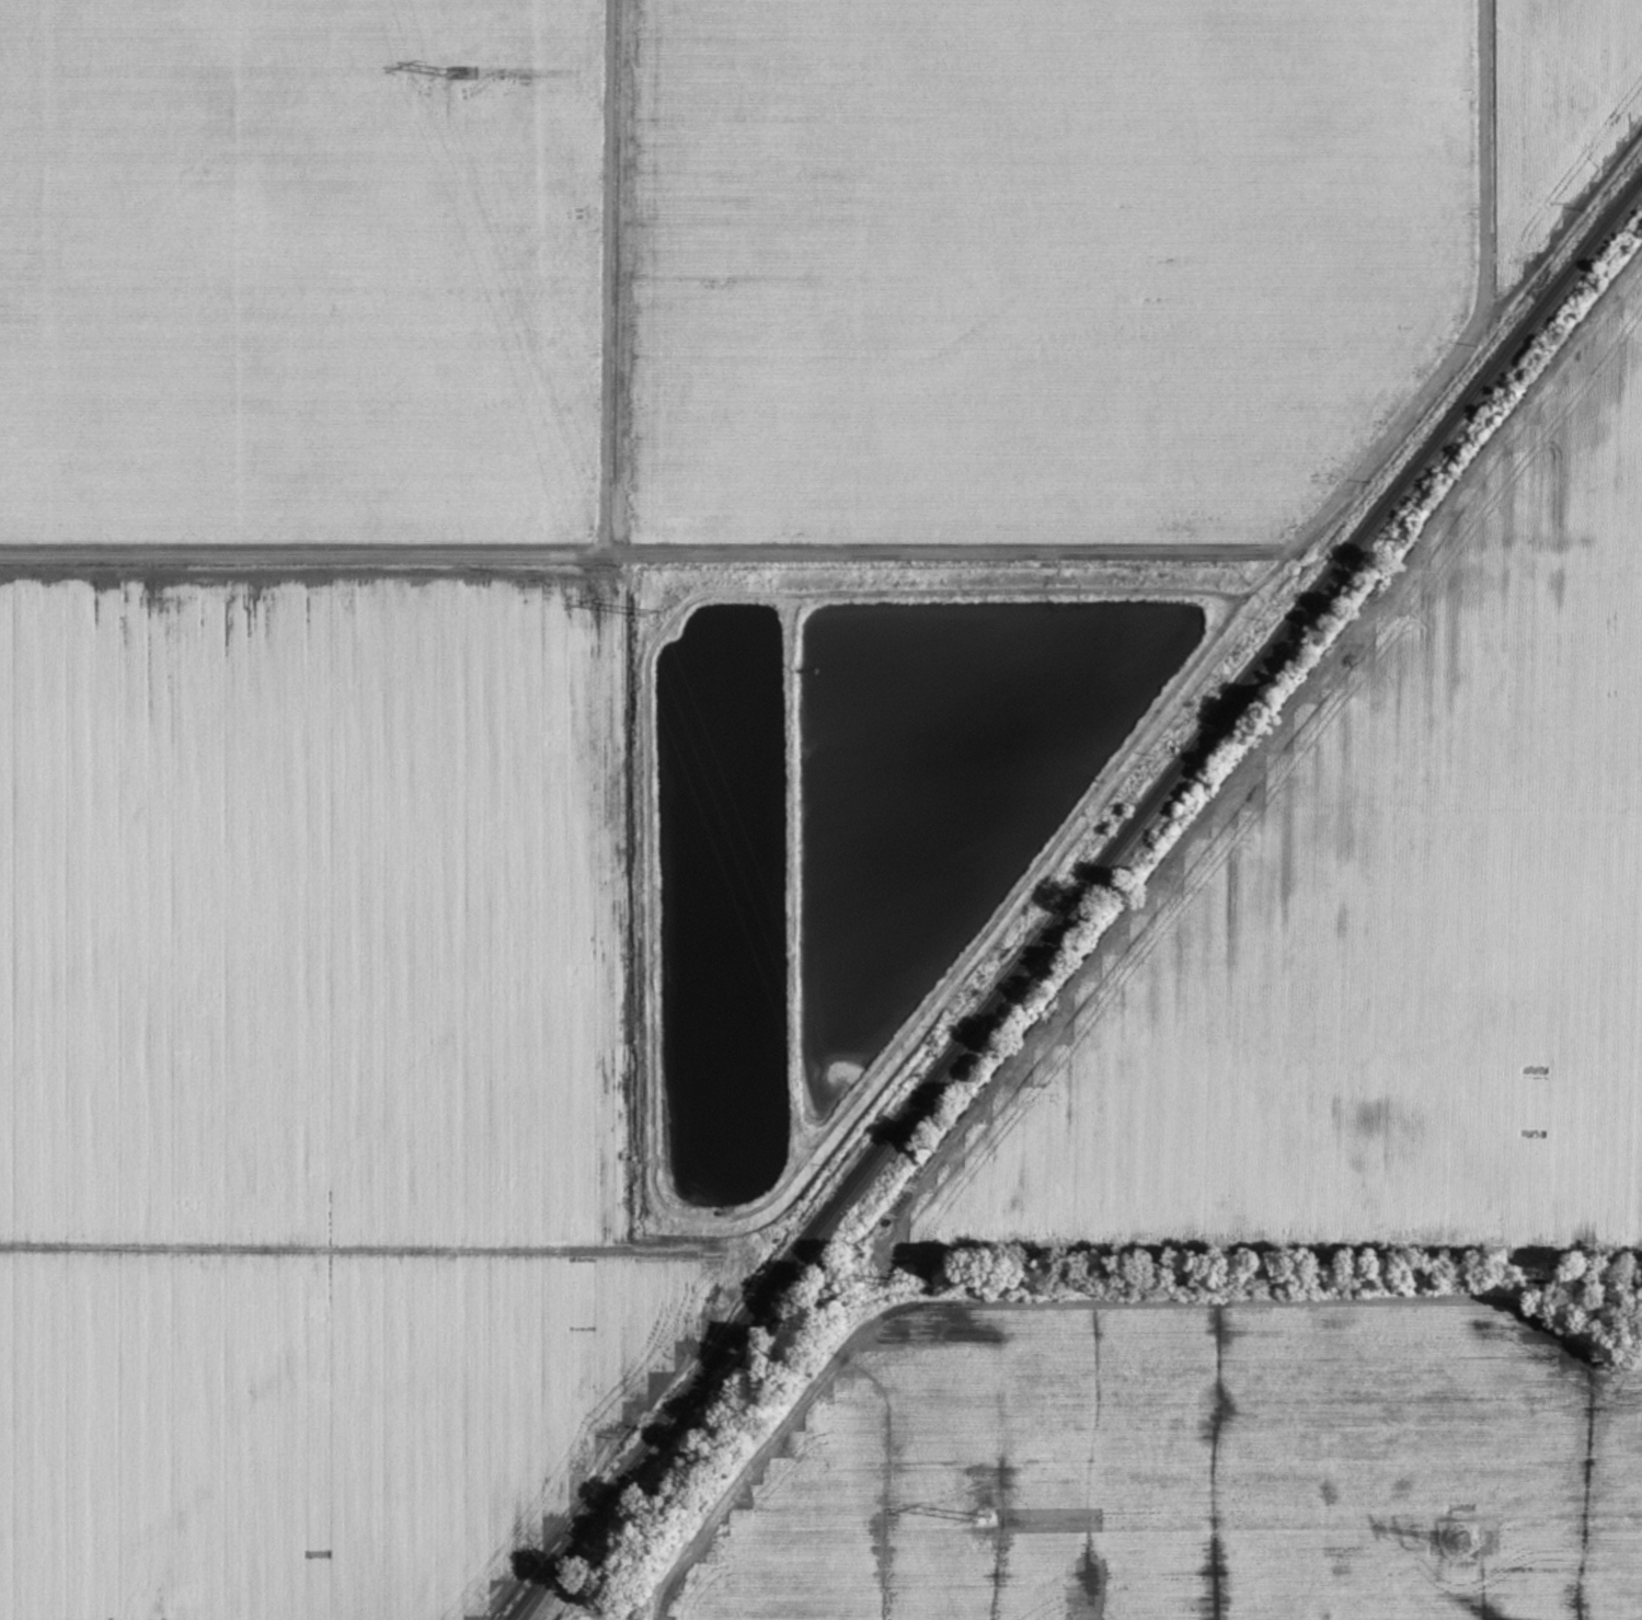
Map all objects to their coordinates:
power tower: (459, 70)
power tower: (658, 609)
railway: (1075, 898)
power tower: (903, 1279)
power tower: (989, 1516)
power tower: (1466, 1540)
railway: (556, 1567)
crop: (576, 1610)

